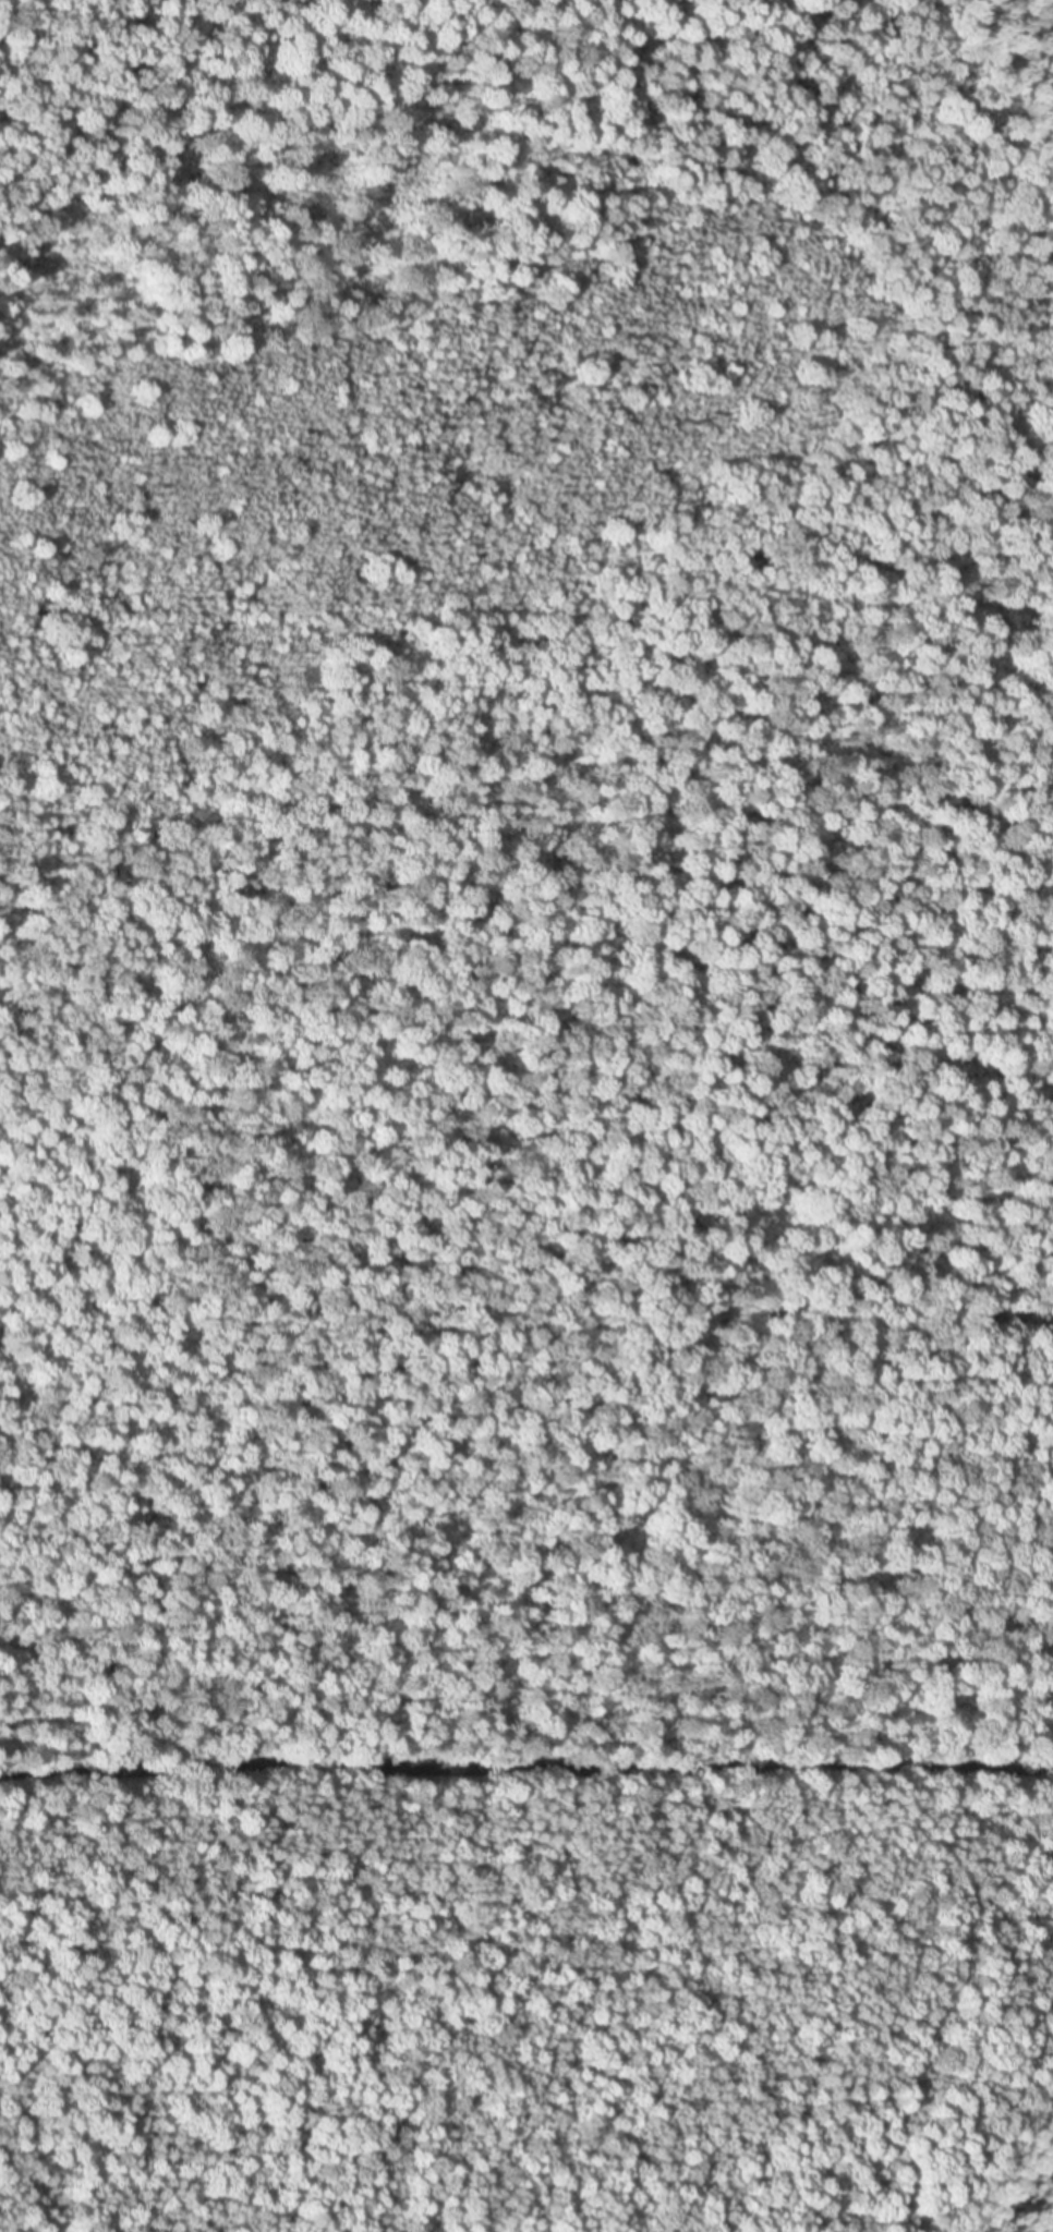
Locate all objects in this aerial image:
road: (525, 1767)

